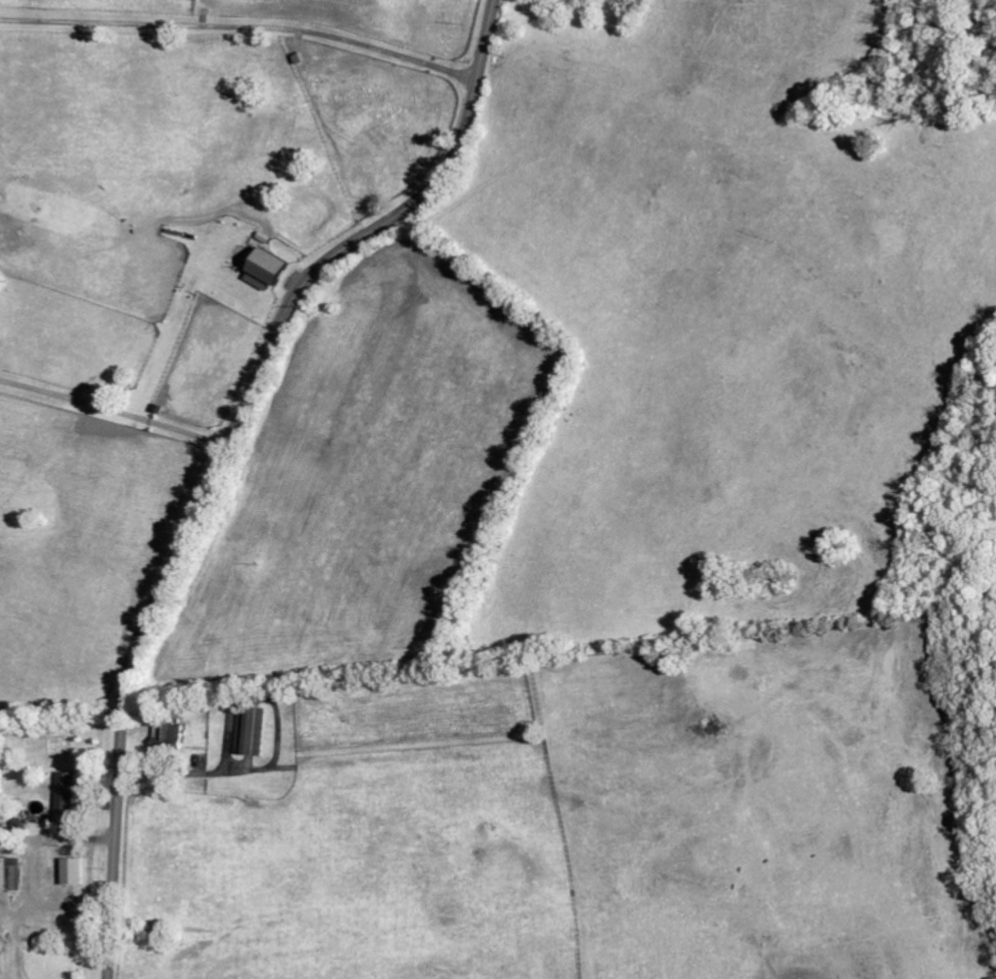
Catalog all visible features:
road: (243, 26)
building: (269, 269)
road: (115, 408)
road: (225, 453)
building: (252, 731)
building: (171, 736)
road: (180, 772)
building: (67, 798)
building: (74, 872)
building: (11, 875)

